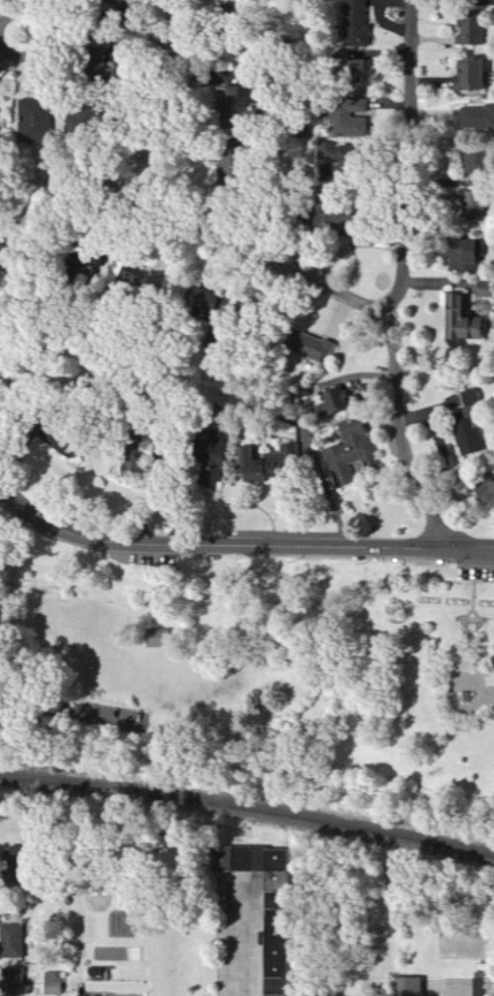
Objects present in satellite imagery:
building: (357, 23)
building: (469, 29)
road: (98, 35)
building: (360, 71)
building: (467, 75)
building: (238, 95)
road: (165, 97)
building: (350, 117)
building: (38, 121)
building: (331, 151)
building: (472, 162)
building: (472, 209)
road: (201, 225)
building: (457, 252)
building: (136, 277)
road: (405, 280)
building: (484, 290)
building: (459, 319)
building: (314, 347)
building: (470, 398)
building: (334, 399)
building: (467, 438)
building: (350, 453)
building: (266, 463)
building: (214, 465)
building: (485, 494)
road: (240, 546)
park: (252, 678)
road: (33, 709)
railway: (248, 811)
building: (17, 862)
building: (14, 908)
building: (276, 934)
building: (14, 942)
road: (239, 942)
building: (96, 973)
building: (14, 981)
building: (52, 984)
building: (407, 987)
building: (478, 987)

